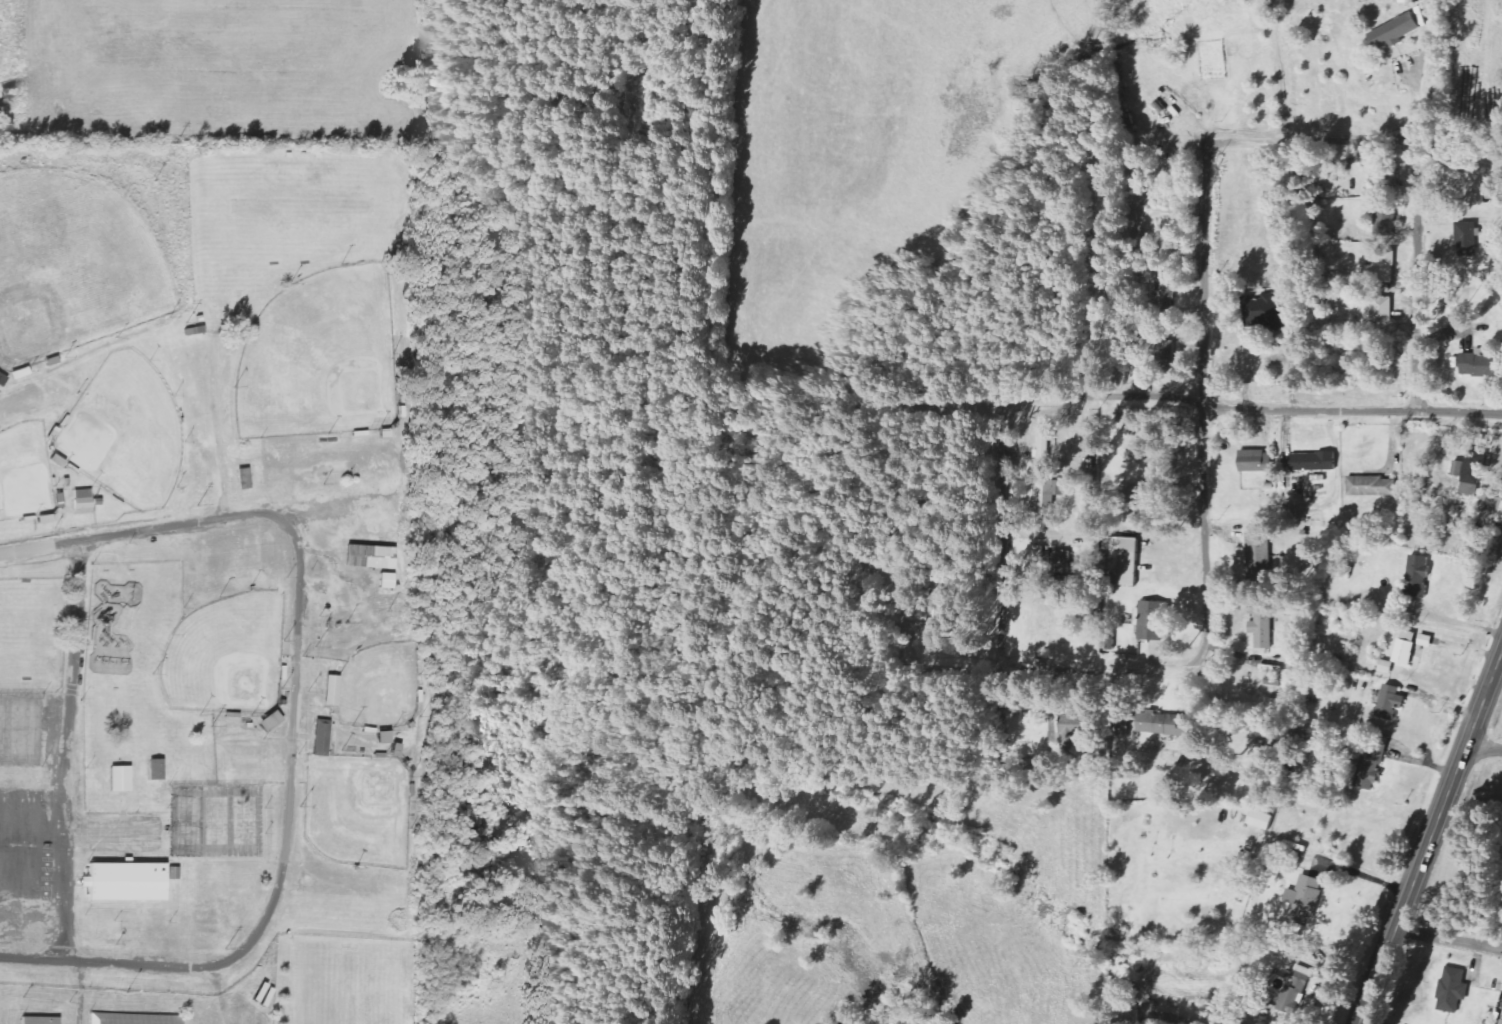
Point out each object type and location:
building: (1397, 32)
road: (1312, 141)
building: (1383, 174)
park: (287, 208)
building: (1379, 216)
building: (1469, 239)
park: (71, 265)
building: (1383, 267)
road: (1417, 276)
building: (1162, 293)
building: (1263, 310)
park: (321, 358)
building: (1482, 364)
building: (3, 380)
road: (1112, 385)
road: (1207, 396)
road: (1354, 410)
park: (123, 433)
building: (1044, 444)
building: (1257, 461)
building: (1316, 462)
park: (23, 473)
building: (1373, 487)
building: (83, 502)
building: (1491, 506)
building: (1259, 555)
building: (372, 557)
building: (1127, 562)
building: (1033, 569)
park: (221, 578)
building: (1419, 578)
building: (388, 581)
park: (27, 606)
building: (1154, 620)
building: (927, 621)
road: (1460, 622)
building: (1263, 625)
road: (992, 647)
park: (26, 651)
building: (1407, 652)
park: (225, 657)
building: (1389, 667)
park: (378, 688)
building: (326, 691)
building: (1388, 702)
road: (292, 717)
building: (1168, 725)
building: (1075, 737)
building: (317, 738)
building: (384, 738)
road: (68, 749)
road: (1483, 750)
building: (1369, 767)
building: (153, 770)
building: (116, 780)
building: (1261, 820)
road: (1430, 837)
building: (124, 883)
building: (1301, 900)
road: (1448, 938)
park: (350, 988)
building: (1451, 990)
building: (131, 1019)
building: (36, 1021)
building: (1499, 1023)

